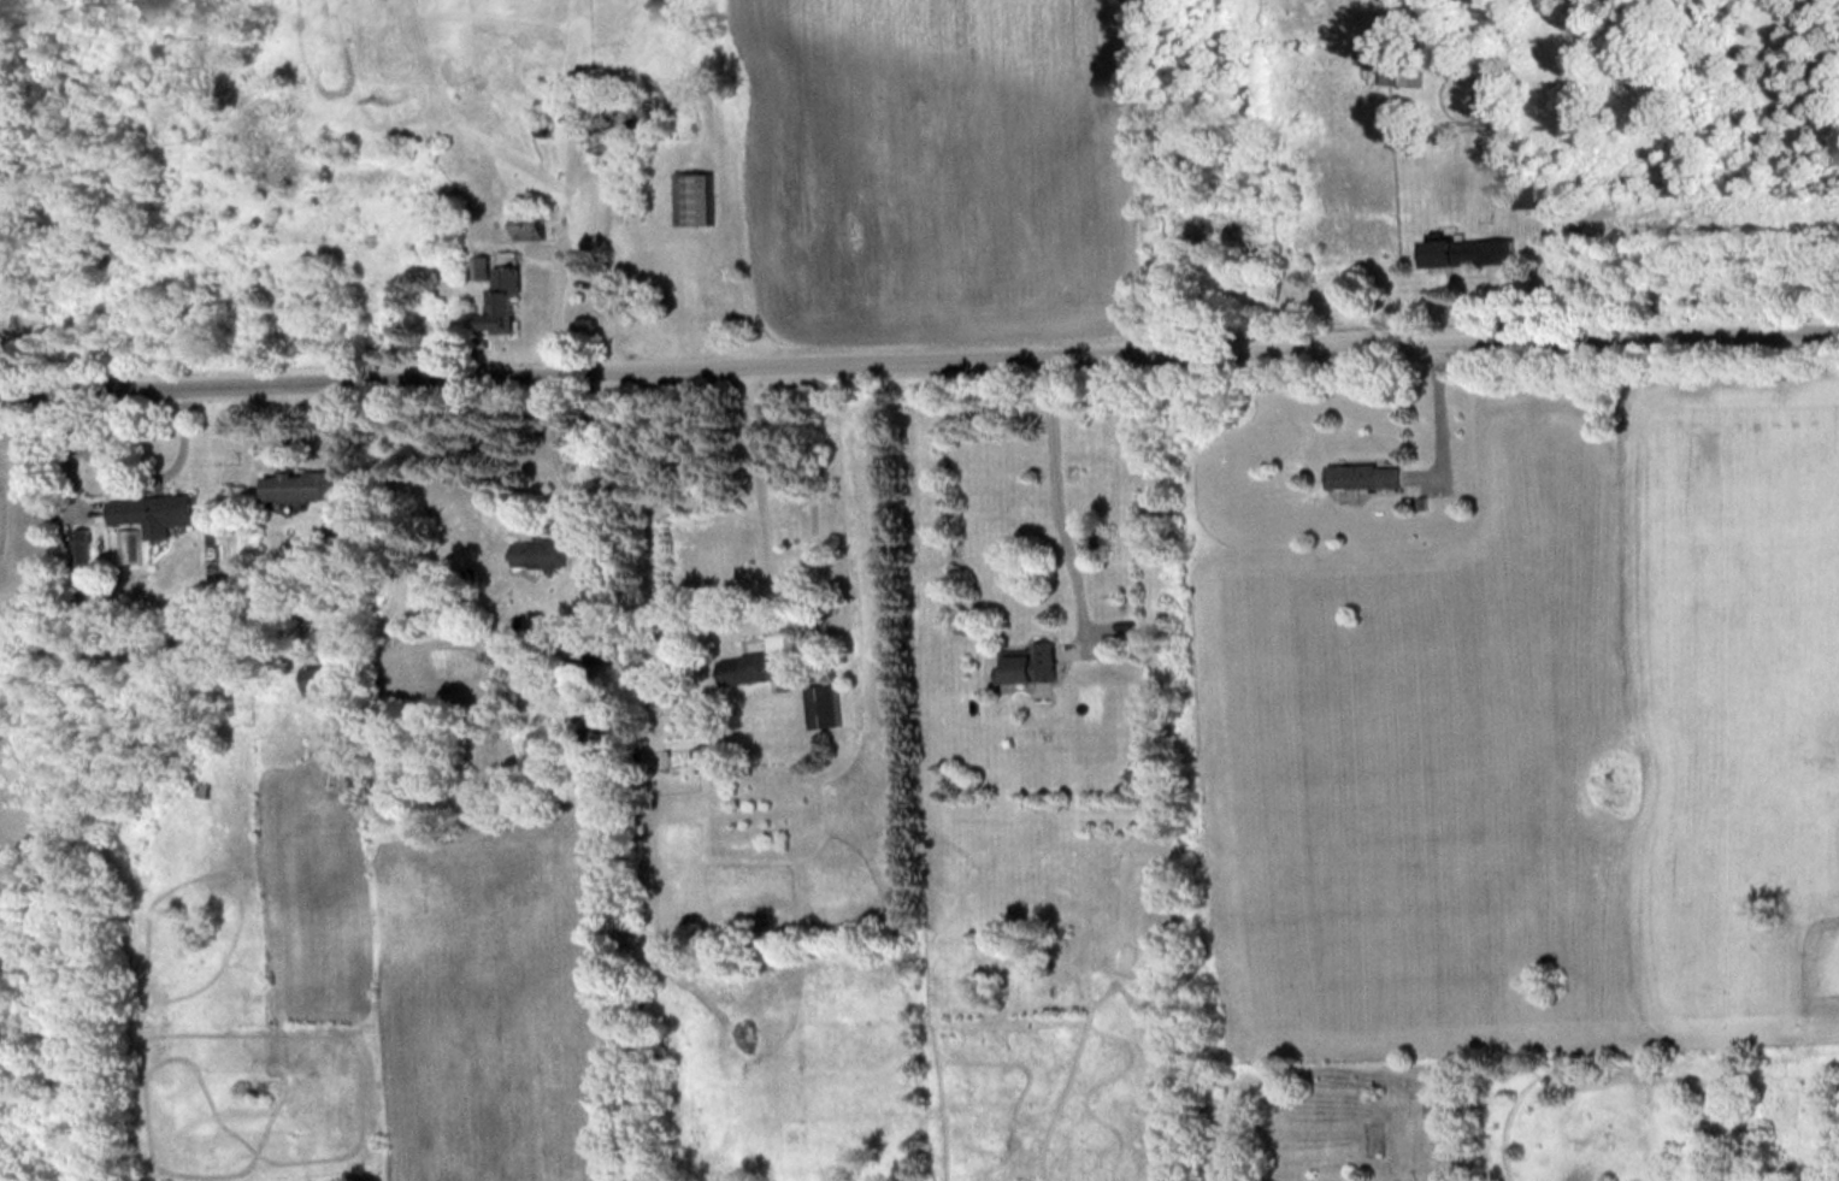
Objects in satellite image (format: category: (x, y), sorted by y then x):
building: (1398, 75)
building: (618, 123)
building: (1528, 195)
building: (695, 197)
building: (529, 215)
building: (1468, 250)
building: (482, 266)
road: (562, 293)
building: (502, 297)
road: (919, 350)
road: (1432, 402)
road: (560, 461)
building: (1362, 473)
building: (300, 484)
road: (760, 485)
road: (1045, 504)
building: (152, 510)
building: (538, 551)
building: (599, 592)
building: (1027, 662)
building: (753, 666)
building: (322, 678)
building: (821, 704)
building: (597, 721)
building: (703, 756)
building: (202, 787)
building: (1444, 1108)

